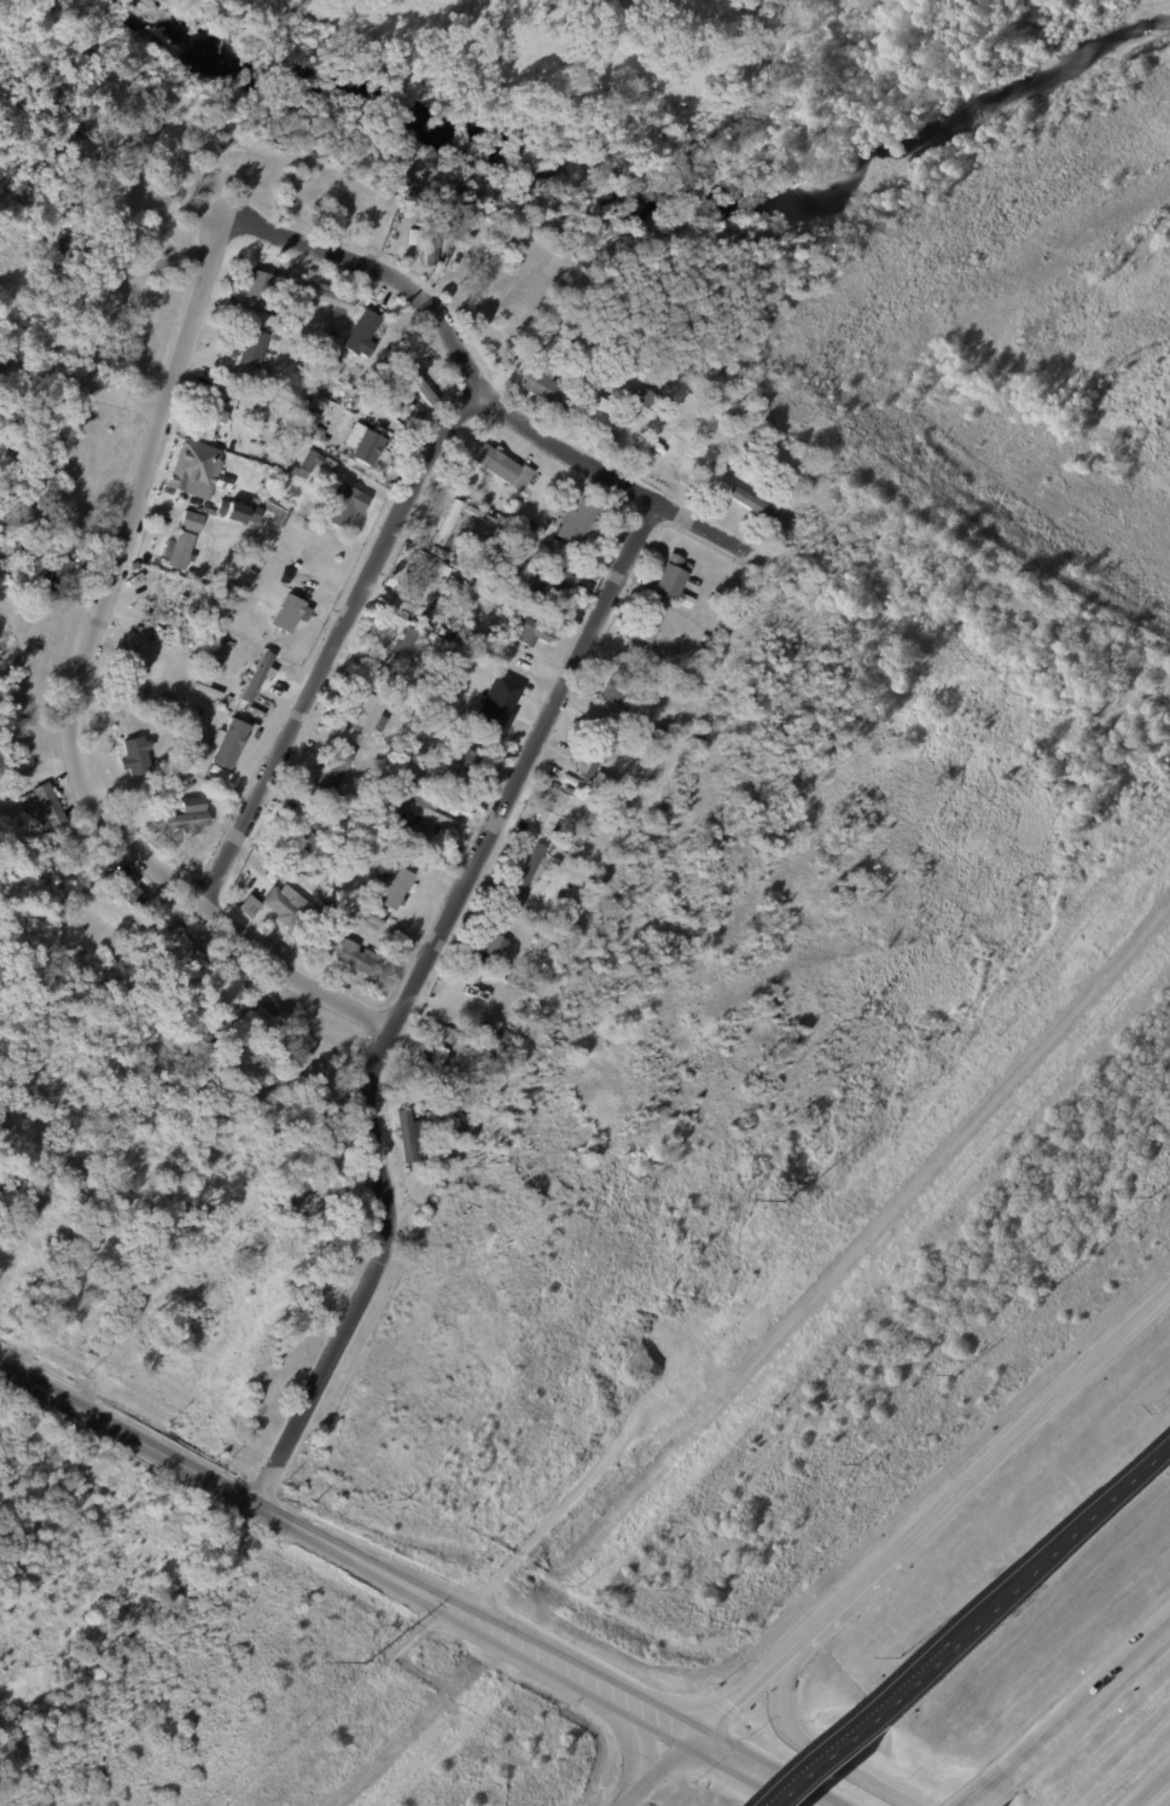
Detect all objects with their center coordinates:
building: (413, 199)
river: (635, 199)
building: (409, 237)
building: (430, 239)
building: (285, 266)
building: (255, 285)
building: (328, 298)
building: (261, 319)
building: (331, 333)
building: (360, 335)
building: (250, 349)
building: (333, 355)
building: (584, 367)
building: (631, 374)
road: (82, 384)
road: (477, 384)
building: (536, 384)
building: (619, 385)
building: (417, 387)
building: (639, 400)
building: (309, 412)
building: (599, 414)
building: (209, 418)
building: (366, 447)
building: (315, 463)
building: (501, 468)
building: (192, 470)
building: (295, 472)
building: (749, 504)
building: (344, 505)
building: (229, 511)
building: (275, 512)
building: (251, 515)
building: (188, 522)
building: (444, 523)
building: (577, 523)
building: (537, 532)
building: (177, 551)
building: (449, 562)
building: (254, 567)
building: (56, 569)
building: (441, 570)
building: (547, 581)
building: (669, 581)
building: (417, 582)
building: (388, 585)
building: (470, 596)
building: (287, 612)
building: (647, 621)
building: (522, 628)
road: (1139, 632)
building: (705, 639)
building: (162, 640)
road: (332, 641)
building: (440, 649)
building: (128, 650)
building: (702, 650)
building: (403, 651)
building: (136, 675)
building: (255, 678)
building: (612, 686)
road: (76, 691)
building: (495, 705)
building: (162, 707)
building: (367, 716)
building: (654, 733)
building: (420, 741)
building: (468, 741)
building: (227, 743)
building: (594, 756)
building: (184, 759)
building: (460, 761)
building: (194, 763)
building: (332, 768)
building: (567, 780)
building: (594, 785)
building: (141, 800)
building: (191, 805)
building: (424, 806)
building: (41, 807)
building: (359, 811)
building: (549, 813)
building: (176, 823)
building: (309, 837)
building: (552, 863)
building: (523, 876)
building: (392, 888)
building: (126, 890)
building: (284, 905)
building: (248, 907)
building: (318, 913)
building: (371, 918)
building: (490, 935)
building: (184, 939)
building: (354, 957)
building: (542, 963)
building: (491, 964)
building: (226, 968)
road: (407, 994)
building: (273, 1021)
building: (488, 1035)
building: (447, 1038)
building: (431, 1068)
building: (446, 1096)
building: (402, 1136)
building: (77, 1171)
building: (64, 1185)
power tower: (792, 1206)
road: (24, 1241)
road: (1031, 1422)
road: (1063, 1544)
road: (347, 1550)
road: (843, 1598)
power tower: (374, 1667)
road: (926, 1671)
road: (743, 1690)
road: (1093, 1698)
road: (630, 1744)
road: (810, 1747)
road: (839, 1752)
road: (656, 1771)
road: (753, 1771)
road: (997, 1789)
road: (1152, 1789)

